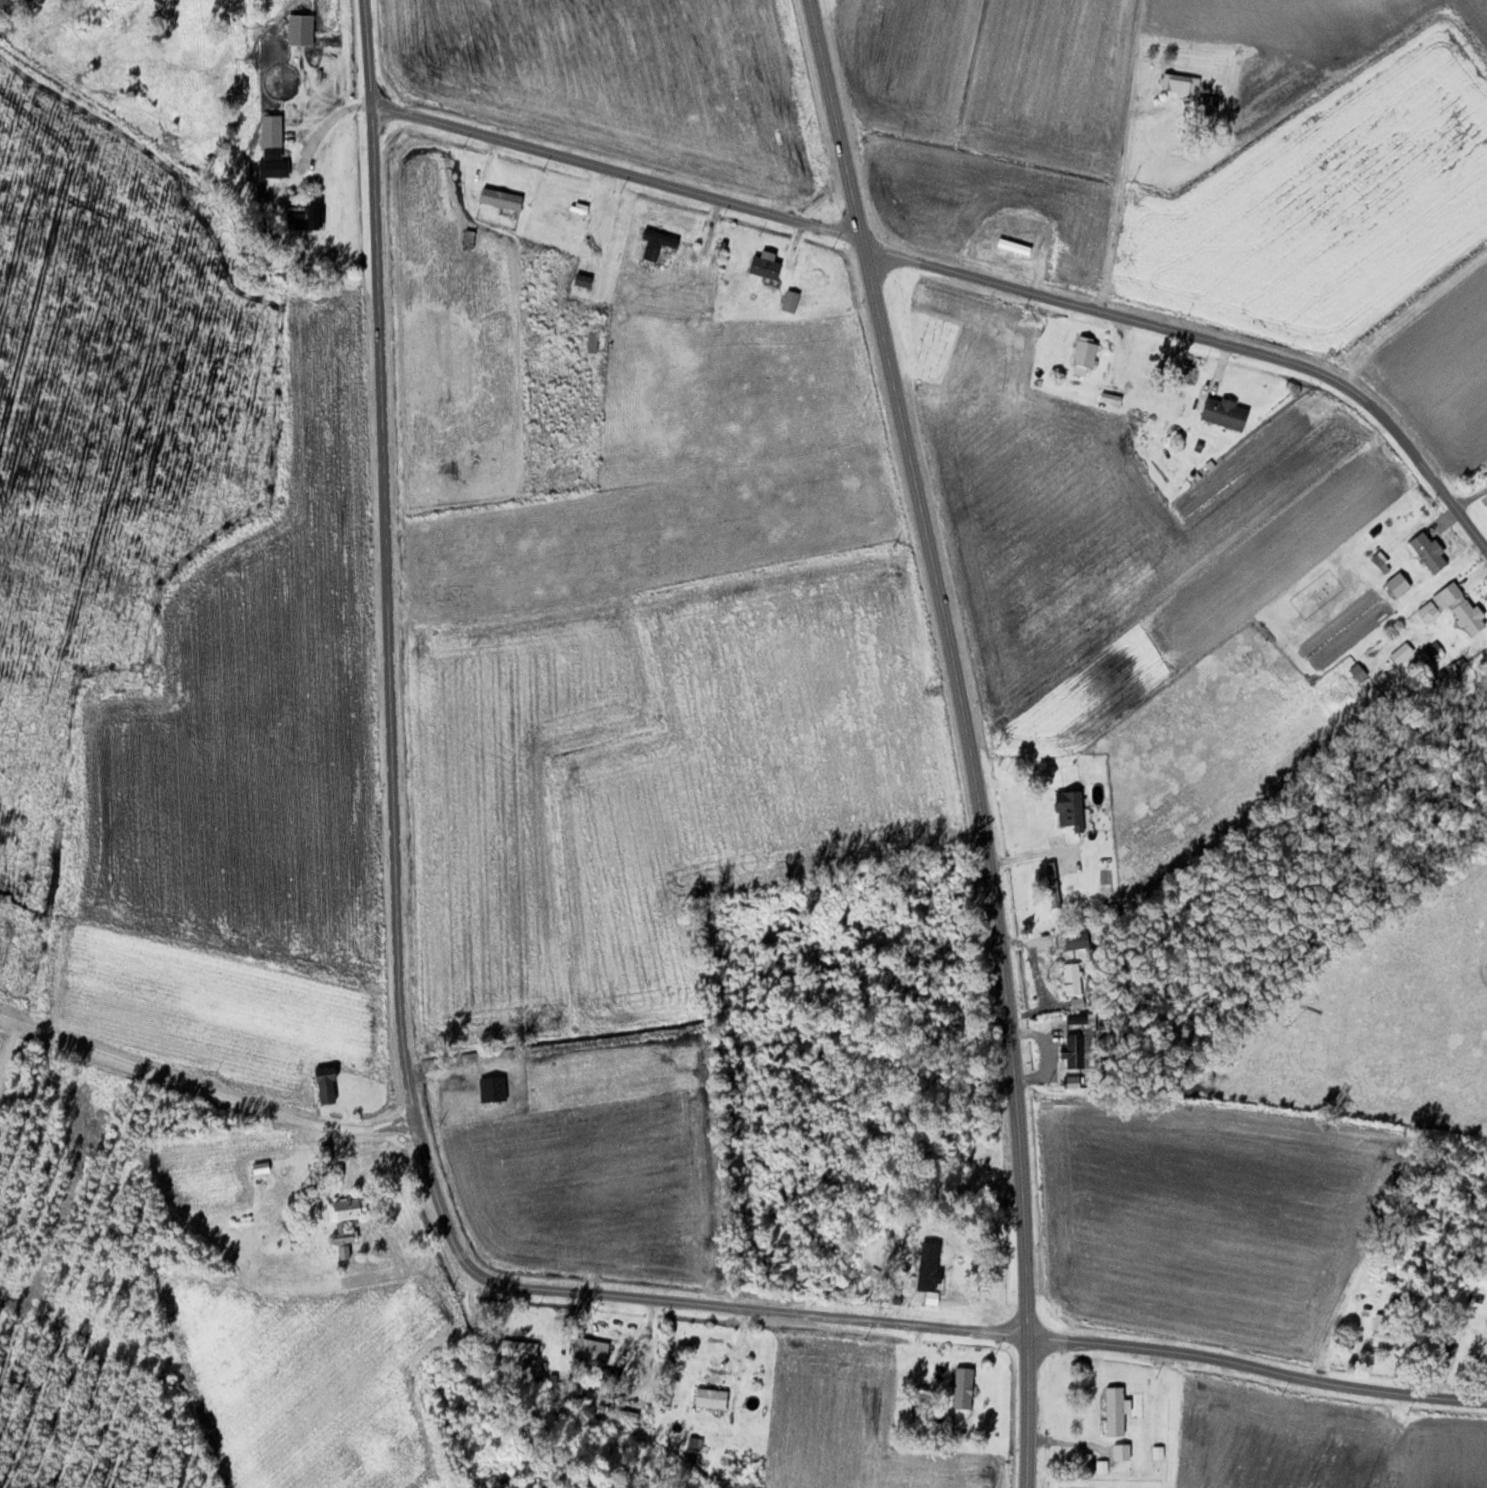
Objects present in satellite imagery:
building: (302, 28)
building: (1184, 82)
building: (1209, 106)
building: (271, 143)
building: (571, 214)
building: (471, 238)
building: (658, 242)
building: (1014, 245)
building: (766, 265)
road: (966, 272)
building: (593, 342)
building: (1085, 355)
building: (1226, 412)
road: (1481, 529)
building: (1430, 550)
building: (1399, 583)
road: (387, 584)
building: (1461, 606)
building: (1402, 652)
building: (1359, 671)
road: (968, 737)
building: (1071, 808)
building: (1075, 978)
building: (327, 1084)
building: (939, 1150)
building: (265, 1182)
building: (348, 1208)
building: (347, 1241)
building: (937, 1275)
building: (1437, 1295)
road: (694, 1309)
building: (1389, 1334)
building: (598, 1345)
building: (521, 1347)
building: (1447, 1356)
building: (430, 1357)
building: (965, 1386)
building: (713, 1397)
building: (1116, 1409)
building: (1123, 1450)

